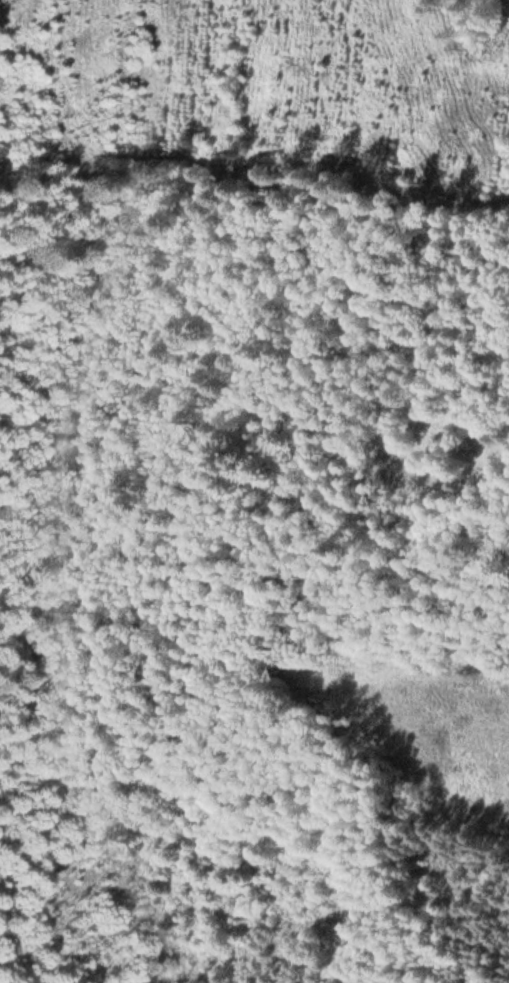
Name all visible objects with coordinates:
road: (249, 500)

